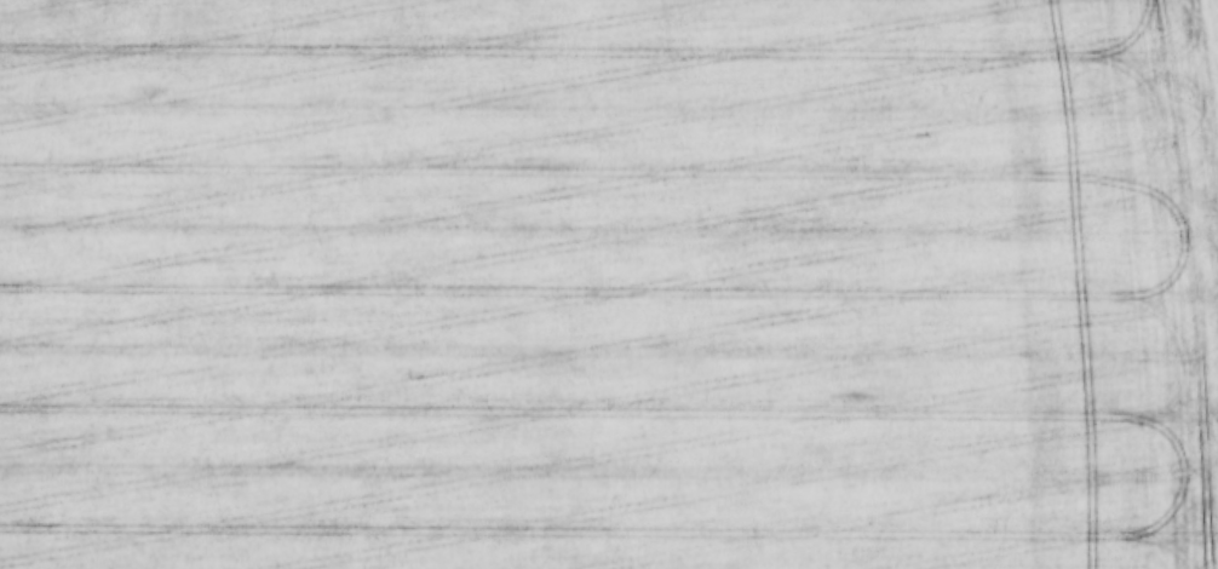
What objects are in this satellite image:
crop: (609, 284)

